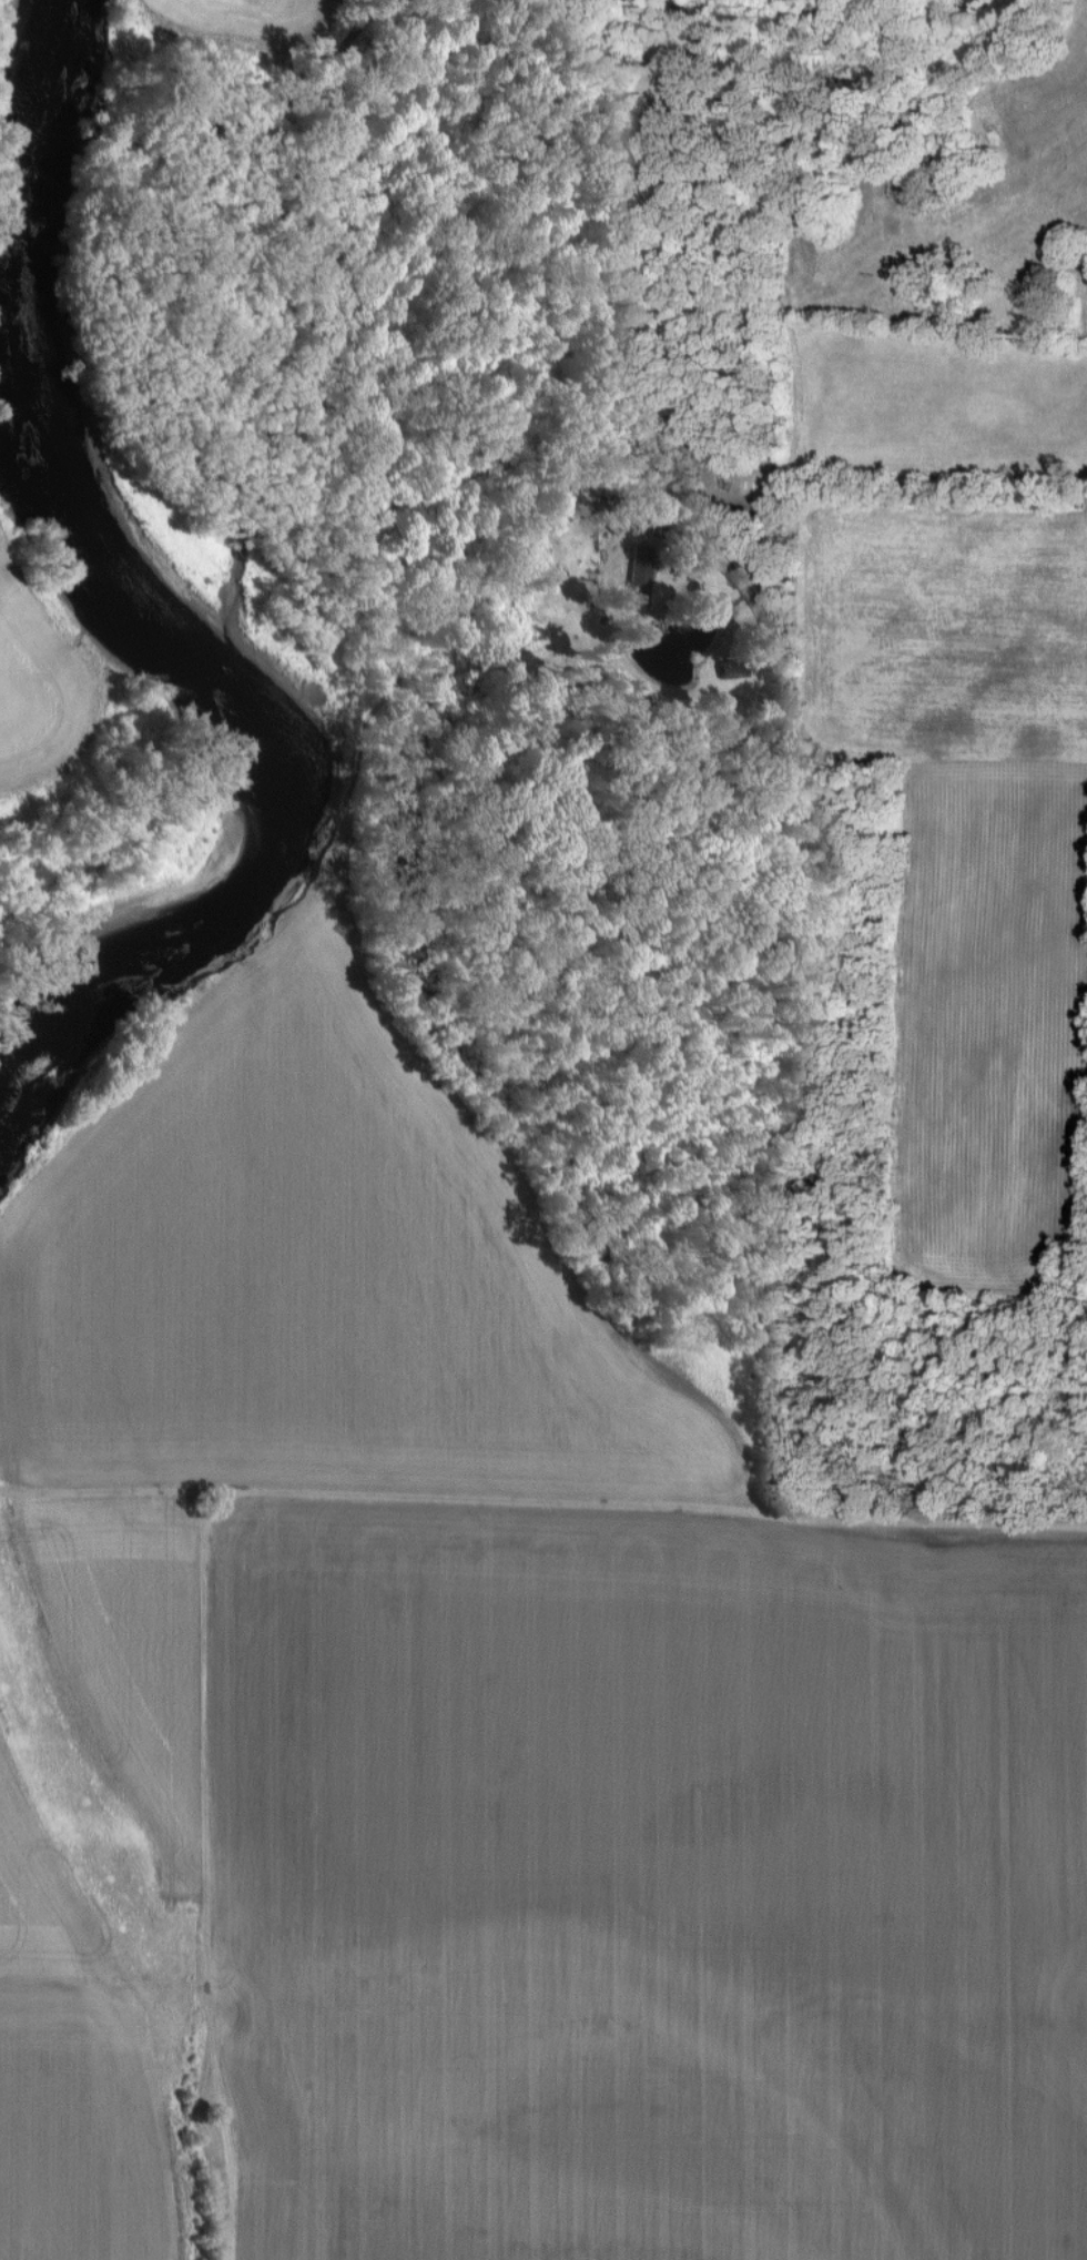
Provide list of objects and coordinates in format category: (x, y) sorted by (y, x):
river: (207, 645)
road: (647, 1512)
road: (193, 1926)

